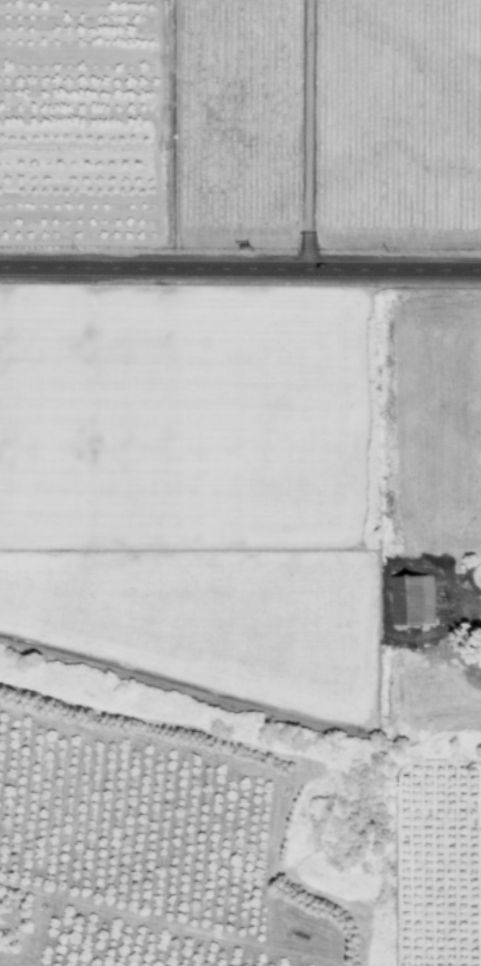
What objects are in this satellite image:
road: (240, 270)
building: (412, 600)
crop: (219, 623)

